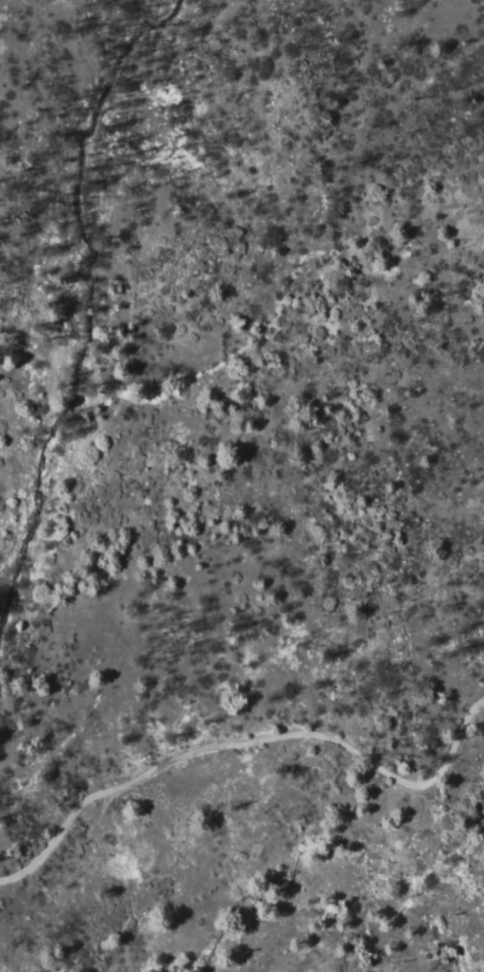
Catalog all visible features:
road: (246, 745)

